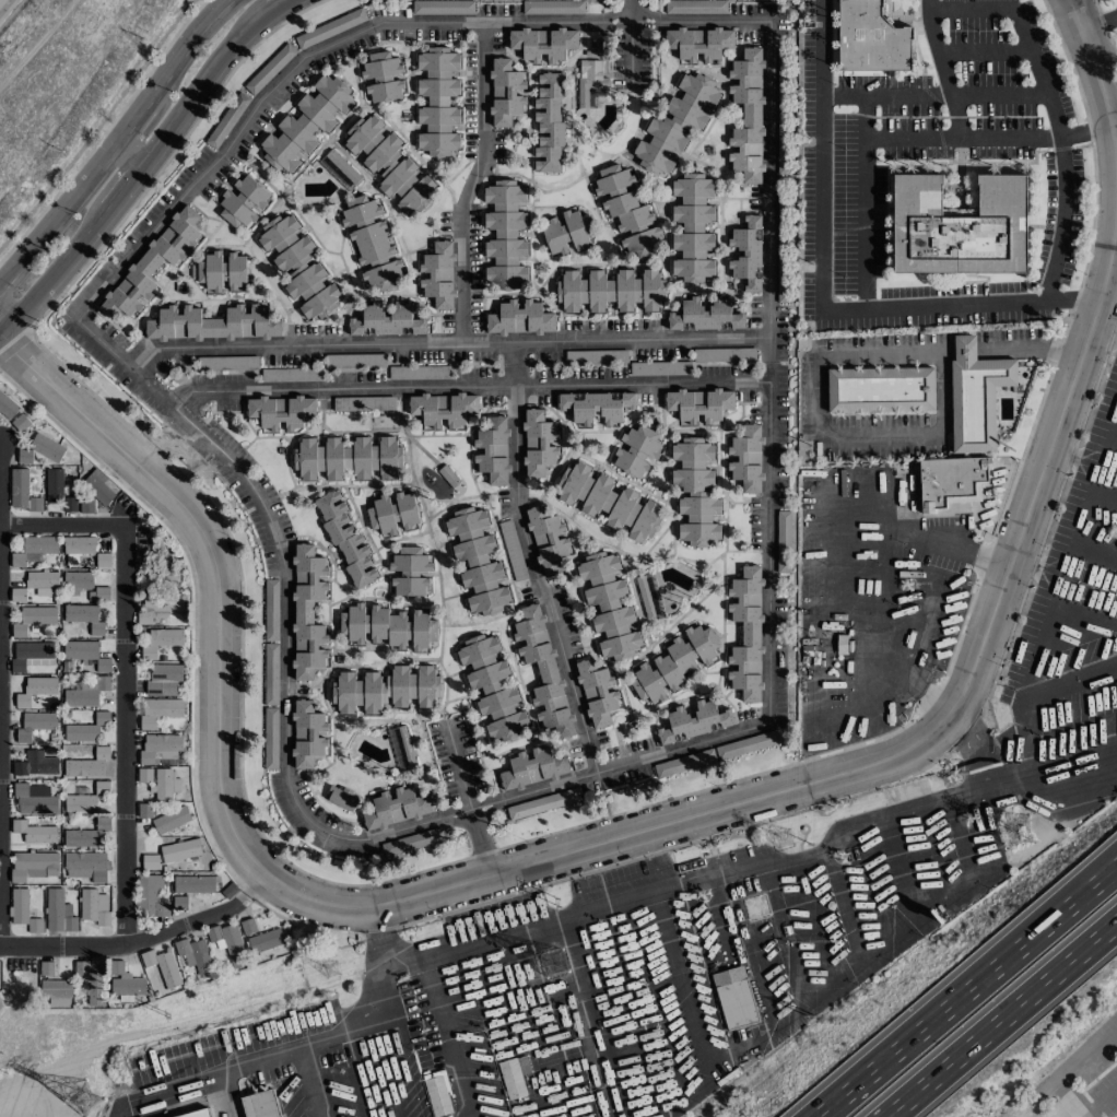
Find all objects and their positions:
road: (3, 4)
road: (274, 5)
building: (444, 7)
building: (552, 7)
building: (694, 7)
road: (1100, 23)
building: (329, 28)
building: (870, 38)
building: (542, 43)
building: (698, 43)
road: (184, 47)
road: (630, 54)
building: (380, 77)
road: (1097, 79)
building: (590, 82)
road: (199, 85)
building: (505, 92)
road: (885, 96)
road: (1048, 101)
building: (437, 102)
building: (746, 115)
road: (955, 117)
road: (131, 120)
building: (548, 122)
building: (674, 124)
building: (305, 125)
road: (1115, 126)
road: (1084, 134)
road: (960, 138)
building: (784, 143)
road: (128, 153)
building: (389, 165)
building: (340, 167)
road: (124, 186)
road: (70, 198)
building: (243, 201)
road: (863, 202)
building: (626, 210)
building: (959, 226)
building: (692, 227)
building: (566, 232)
building: (504, 233)
building: (371, 242)
building: (746, 254)
building: (152, 263)
road: (12, 267)
building: (298, 267)
building: (220, 271)
building: (783, 271)
road: (54, 272)
building: (438, 274)
road: (1112, 280)
building: (610, 291)
road: (821, 291)
building: (705, 316)
building: (519, 318)
building: (385, 320)
building: (212, 324)
road: (637, 340)
road: (294, 346)
road: (964, 346)
road: (1027, 350)
building: (345, 361)
building: (223, 362)
road: (122, 363)
road: (514, 378)
road: (468, 386)
building: (880, 389)
building: (975, 395)
building: (363, 403)
building: (698, 403)
building: (7, 405)
building: (597, 407)
building: (443, 409)
building: (280, 412)
building: (20, 422)
road: (819, 425)
building: (538, 443)
building: (46, 447)
building: (635, 450)
building: (492, 451)
road: (1047, 452)
building: (24, 456)
building: (346, 458)
building: (745, 458)
building: (449, 479)
building: (951, 481)
building: (97, 486)
building: (57, 489)
building: (22, 491)
building: (695, 492)
building: (609, 501)
road: (768, 503)
building: (392, 513)
road: (62, 524)
building: (345, 539)
building: (546, 540)
building: (783, 541)
building: (78, 548)
building: (34, 550)
road: (1078, 551)
building: (103, 560)
building: (477, 561)
road: (213, 565)
building: (409, 572)
building: (154, 575)
building: (77, 581)
building: (42, 583)
road: (884, 584)
building: (98, 593)
building: (17, 595)
building: (648, 595)
building: (158, 604)
building: (608, 605)
building: (307, 611)
building: (33, 619)
building: (84, 619)
building: (388, 627)
building: (745, 634)
building: (161, 640)
building: (270, 640)
building: (28, 652)
building: (86, 655)
building: (674, 662)
building: (542, 670)
building: (163, 679)
building: (492, 687)
building: (35, 690)
building: (385, 690)
building: (83, 691)
building: (596, 693)
building: (158, 710)
road: (1034, 719)
building: (693, 721)
building: (35, 725)
building: (86, 728)
road: (124, 733)
building: (306, 734)
road: (0, 736)
building: (270, 738)
building: (744, 744)
building: (158, 745)
building: (400, 746)
building: (684, 763)
building: (35, 764)
building: (87, 764)
building: (532, 767)
building: (144, 775)
building: (164, 783)
building: (102, 786)
building: (342, 798)
building: (34, 799)
building: (80, 802)
building: (542, 803)
building: (396, 807)
building: (144, 810)
building: (171, 819)
building: (34, 832)
power tower: (1020, 832)
building: (89, 835)
road: (634, 835)
power tower: (785, 839)
road: (950, 840)
building: (411, 842)
building: (179, 850)
building: (150, 861)
building: (34, 866)
building: (85, 866)
road: (730, 869)
building: (193, 884)
building: (228, 891)
building: (150, 895)
building: (179, 903)
power tower: (565, 904)
building: (19, 906)
building: (94, 906)
power tower: (757, 907)
building: (58, 912)
road: (554, 917)
building: (34, 926)
road: (141, 939)
building: (264, 940)
building: (228, 943)
building: (196, 953)
building: (162, 966)
building: (46, 967)
power tower: (331, 969)
building: (93, 980)
building: (125, 980)
building: (56, 988)
road: (968, 990)
building: (733, 997)
power tower: (176, 1018)
road: (575, 1018)
road: (999, 1018)
road: (295, 1048)
road: (1070, 1072)
building: (513, 1075)
road: (308, 1082)
building: (436, 1092)
road: (222, 1095)
road: (1101, 1101)
building: (260, 1105)
building: (199, 1114)
power tower: (51, 1116)

